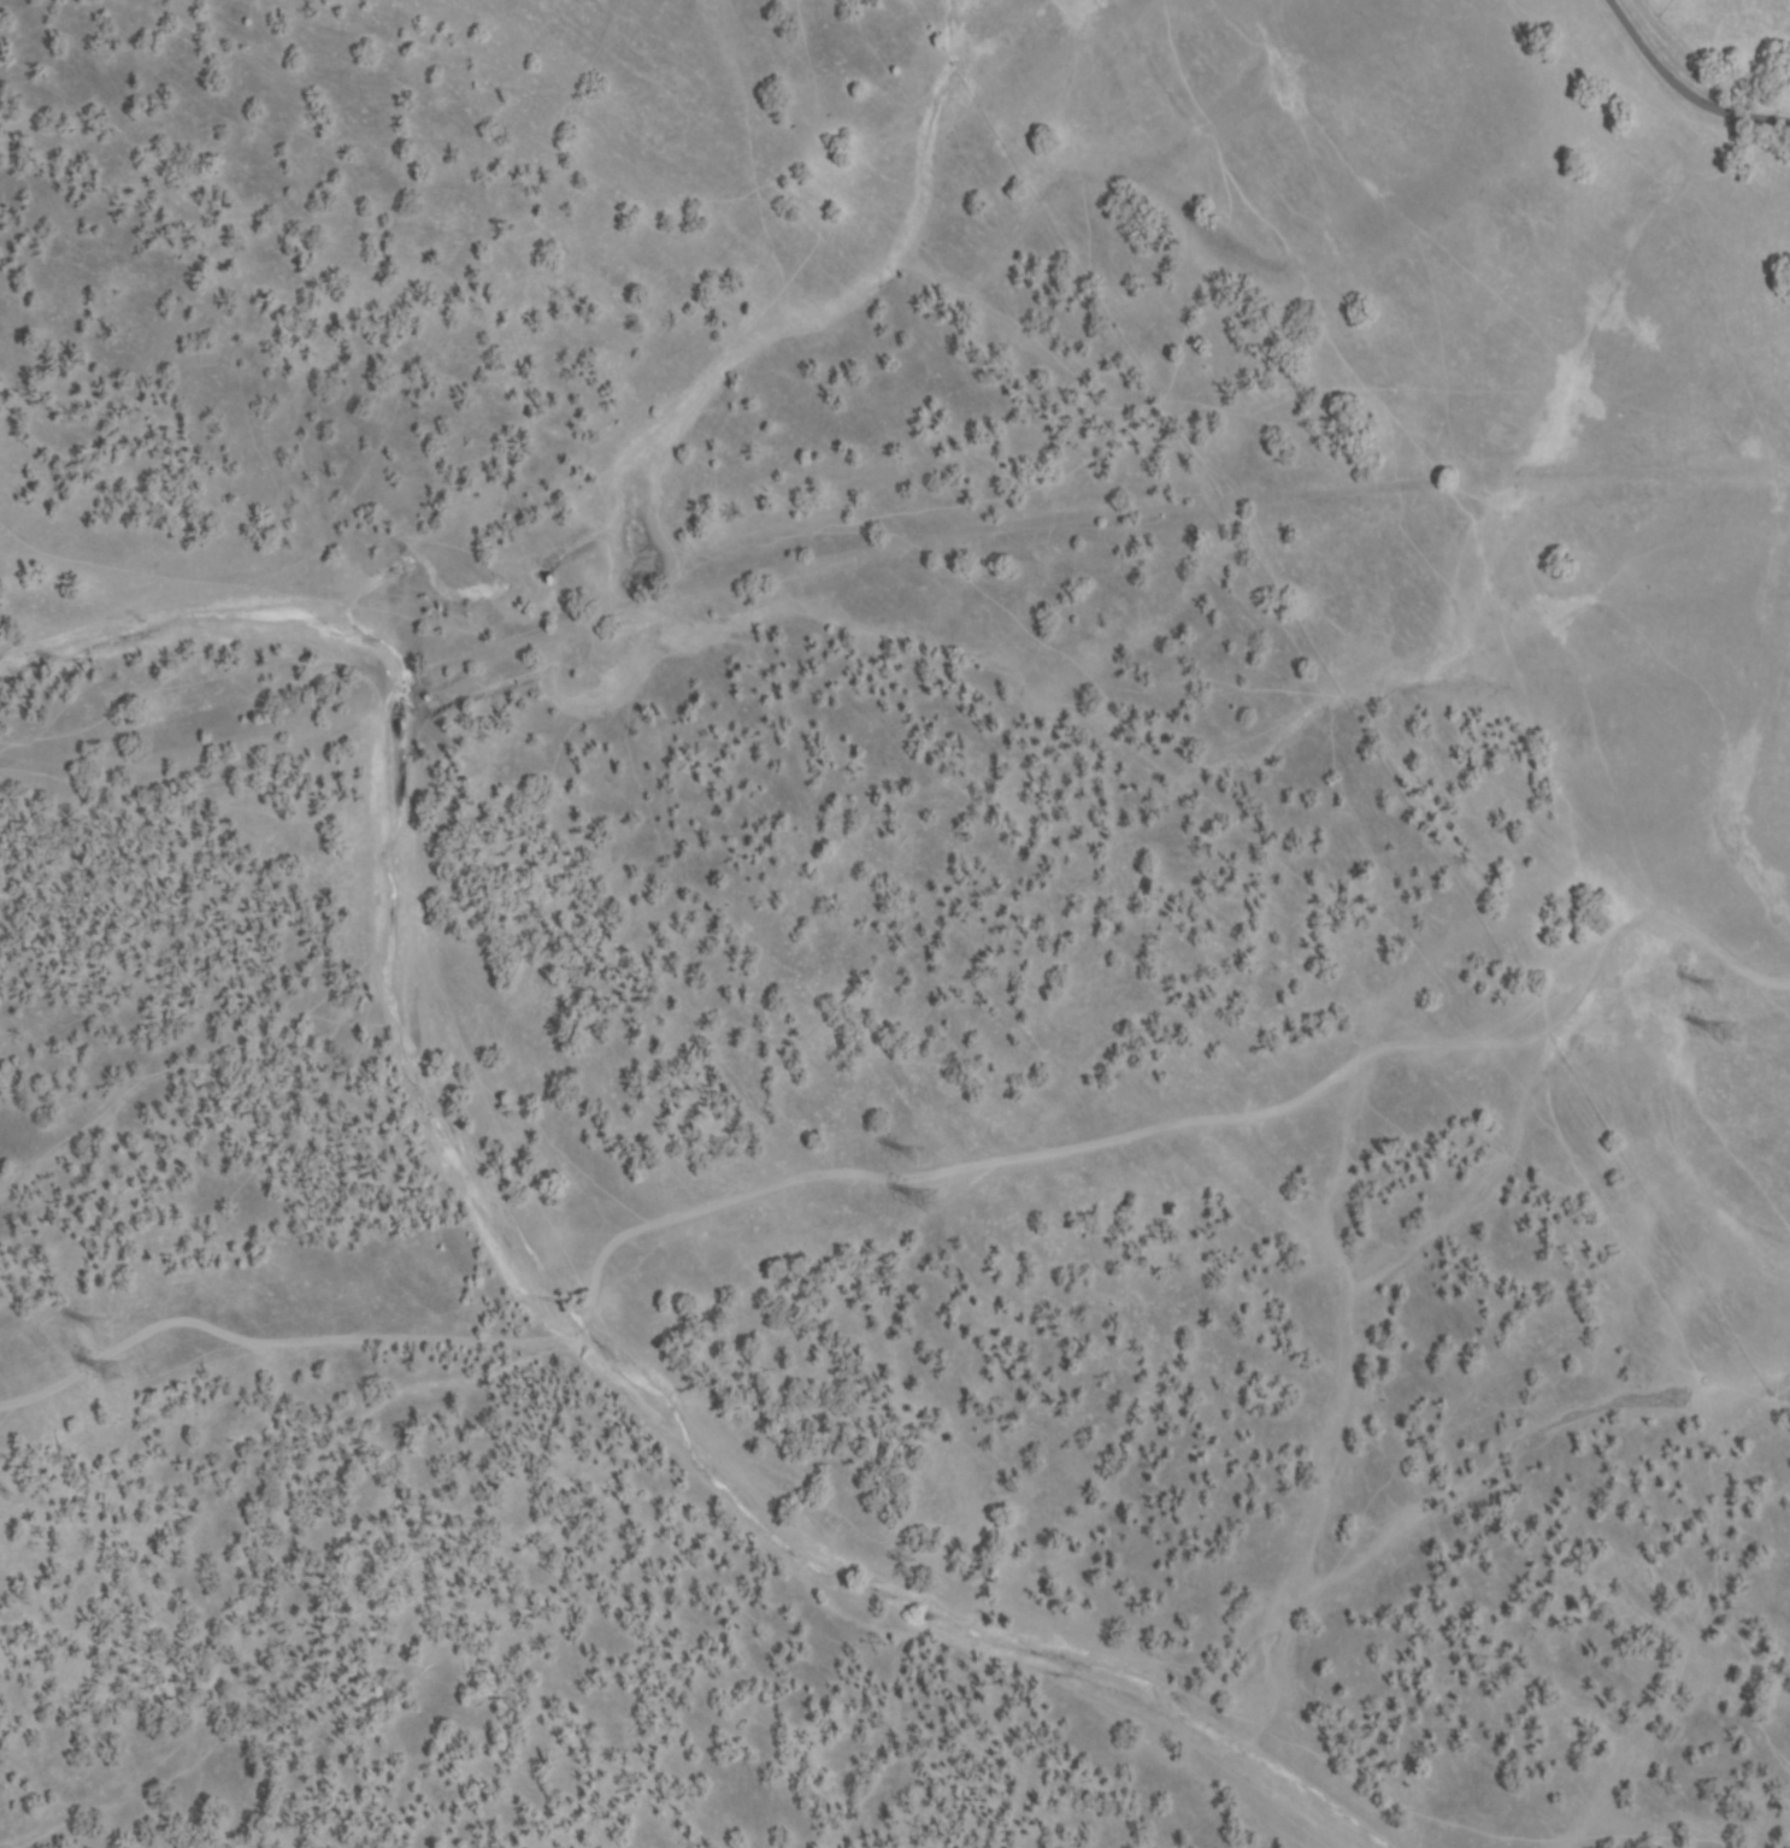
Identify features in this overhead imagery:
road: (1689, 86)
power tower: (1715, 993)
power tower: (1726, 1037)
power tower: (917, 1159)
road: (896, 1177)
power tower: (929, 1203)
power tower: (104, 1329)
building: (112, 1372)
power tower: (111, 1375)

